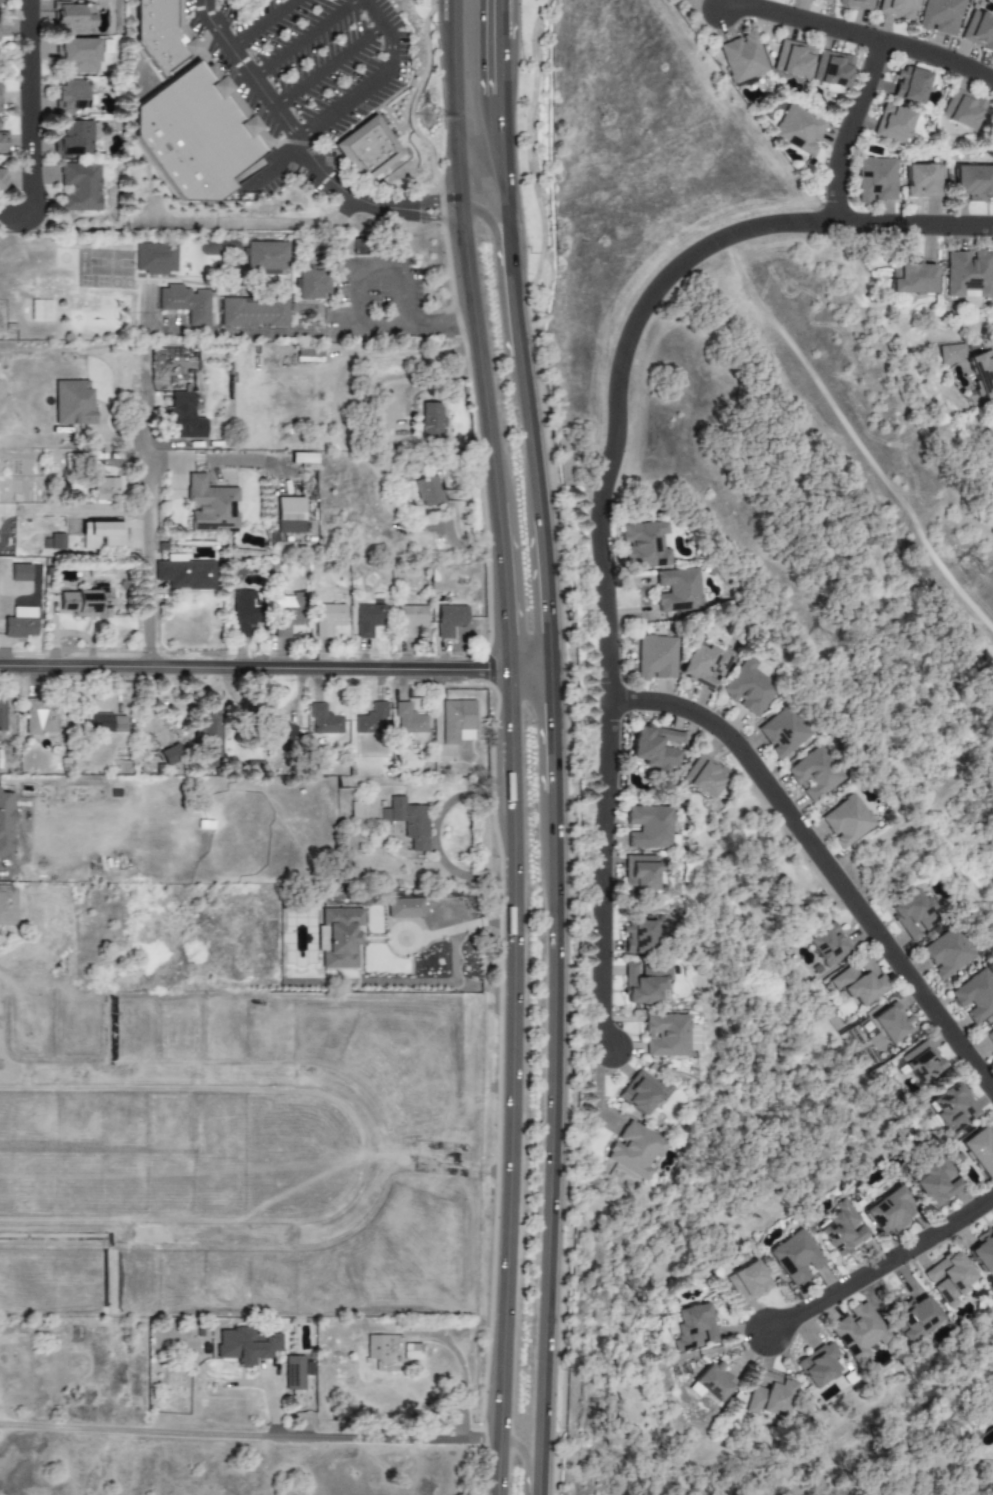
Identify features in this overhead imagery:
building: (0, 1)
building: (824, 1)
building: (857, 4)
building: (897, 8)
road: (452, 9)
building: (940, 16)
building: (74, 18)
road: (501, 19)
road: (261, 22)
road: (806, 22)
building: (978, 31)
building: (164, 36)
road: (304, 38)
building: (77, 55)
building: (743, 57)
road: (940, 58)
building: (793, 59)
road: (501, 66)
road: (331, 68)
building: (832, 69)
road: (249, 72)
road: (377, 79)
building: (910, 85)
road: (501, 95)
building: (69, 96)
building: (961, 109)
power tower: (427, 116)
road: (28, 121)
building: (893, 124)
building: (799, 130)
road: (851, 130)
building: (73, 140)
building: (2, 142)
building: (201, 143)
building: (375, 153)
road: (277, 165)
building: (876, 179)
building: (2, 181)
building: (923, 181)
building: (974, 182)
building: (79, 186)
road: (505, 187)
road: (367, 203)
road: (153, 211)
road: (249, 224)
road: (916, 224)
road: (493, 234)
building: (265, 258)
building: (155, 259)
road: (461, 262)
road: (379, 265)
building: (968, 274)
building: (911, 277)
building: (313, 284)
building: (185, 303)
building: (39, 310)
building: (253, 312)
road: (519, 315)
road: (284, 334)
building: (951, 354)
road: (360, 355)
building: (982, 372)
road: (431, 380)
road: (623, 396)
building: (73, 402)
road: (143, 415)
building: (184, 418)
building: (429, 422)
road: (534, 425)
building: (306, 460)
building: (106, 490)
building: (420, 492)
building: (210, 505)
road: (75, 511)
building: (289, 515)
building: (102, 534)
building: (56, 541)
building: (644, 545)
road: (460, 546)
road: (150, 563)
power tower: (969, 570)
building: (20, 572)
building: (185, 573)
road: (554, 584)
road: (498, 587)
building: (678, 590)
building: (85, 603)
building: (243, 614)
building: (287, 614)
building: (328, 619)
building: (368, 619)
building: (410, 619)
building: (450, 620)
building: (20, 623)
power tower: (809, 643)
building: (656, 658)
building: (705, 665)
road: (252, 667)
road: (533, 670)
road: (507, 708)
building: (2, 715)
building: (40, 716)
building: (372, 720)
building: (409, 720)
building: (324, 721)
building: (457, 721)
building: (101, 722)
building: (783, 733)
building: (283, 734)
building: (210, 739)
road: (563, 741)
building: (655, 747)
building: (172, 754)
road: (480, 765)
building: (0, 767)
building: (815, 774)
building: (704, 776)
road: (510, 780)
building: (355, 810)
building: (847, 821)
building: (408, 822)
building: (5, 825)
building: (649, 827)
road: (437, 838)
road: (824, 860)
building: (640, 873)
road: (607, 879)
building: (8, 905)
building: (404, 908)
building: (913, 915)
road: (472, 921)
building: (338, 937)
building: (638, 938)
building: (827, 945)
building: (948, 953)
building: (644, 983)
building: (858, 983)
building: (975, 996)
building: (891, 1022)
building: (666, 1035)
building: (989, 1036)
building: (921, 1063)
building: (639, 1092)
building: (952, 1108)
building: (635, 1150)
building: (979, 1151)
road: (509, 1154)
road: (563, 1154)
road: (446, 1170)
building: (936, 1182)
road: (393, 1183)
building: (889, 1211)
building: (841, 1229)
building: (983, 1250)
building: (794, 1257)
road: (882, 1269)
building: (948, 1278)
building: (746, 1282)
building: (914, 1318)
building: (693, 1327)
building: (858, 1331)
building: (246, 1346)
building: (390, 1352)
building: (817, 1365)
building: (294, 1373)
building: (713, 1382)
building: (768, 1396)
road: (249, 1435)
road: (525, 1460)

